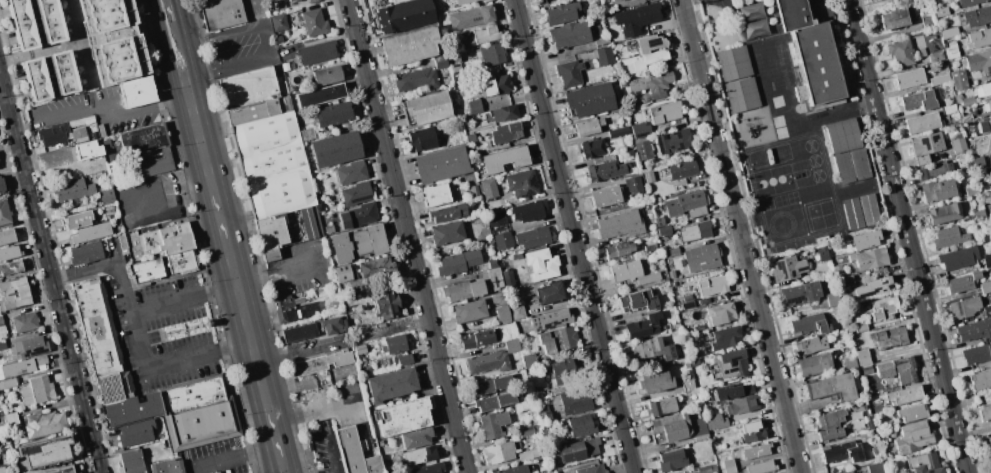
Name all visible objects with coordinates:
building: (451, 0)
building: (486, 0)
building: (614, 0)
building: (872, 0)
building: (296, 1)
building: (463, 2)
building: (970, 3)
road: (178, 9)
road: (258, 12)
building: (942, 12)
building: (222, 13)
building: (561, 13)
building: (643, 14)
building: (398, 15)
building: (471, 17)
building: (977, 17)
building: (752, 20)
building: (894, 20)
building: (280, 22)
building: (929, 22)
building: (36, 23)
building: (313, 23)
building: (950, 32)
building: (569, 34)
building: (485, 35)
building: (980, 38)
building: (114, 40)
road: (265, 41)
building: (602, 43)
building: (650, 43)
road: (164, 46)
building: (411, 46)
building: (951, 50)
building: (901, 52)
building: (922, 52)
road: (189, 53)
building: (317, 53)
building: (492, 54)
building: (604, 56)
building: (812, 57)
building: (936, 57)
building: (644, 60)
building: (979, 62)
building: (441, 63)
building: (456, 67)
building: (570, 73)
building: (327, 75)
building: (50, 76)
building: (910, 78)
building: (415, 79)
building: (941, 79)
building: (960, 79)
building: (738, 80)
building: (638, 84)
building: (497, 85)
building: (658, 85)
building: (253, 87)
building: (984, 90)
building: (138, 93)
building: (321, 95)
building: (590, 99)
building: (919, 100)
building: (968, 101)
building: (472, 107)
building: (987, 107)
building: (428, 108)
building: (949, 109)
building: (260, 111)
building: (665, 112)
road: (113, 113)
building: (504, 113)
building: (334, 114)
building: (967, 118)
building: (81, 122)
building: (923, 123)
building: (985, 126)
building: (589, 127)
building: (641, 130)
building: (102, 131)
building: (619, 132)
building: (93, 133)
building: (506, 133)
building: (307, 134)
building: (266, 135)
rooftop solar panel: (664, 135)
rooftop solar panel: (677, 135)
building: (471, 138)
rooftop solar panel: (934, 138)
building: (422, 139)
building: (144, 140)
building: (674, 141)
building: (86, 143)
rooftop solar panel: (923, 143)
building: (107, 144)
building: (948, 145)
building: (959, 145)
rooftop solar panel: (658, 146)
building: (926, 147)
building: (592, 148)
rooftop solar panel: (680, 148)
building: (336, 149)
building: (644, 150)
building: (847, 152)
building: (113, 154)
building: (624, 155)
building: (767, 156)
building: (504, 160)
building: (153, 162)
building: (990, 162)
building: (273, 163)
building: (978, 163)
building: (441, 165)
building: (970, 166)
building: (683, 169)
building: (935, 170)
building: (962, 170)
building: (601, 172)
building: (351, 173)
building: (989, 176)
building: (648, 177)
building: (631, 178)
rooftop solar panel: (534, 180)
park: (771, 181)
building: (522, 183)
building: (2, 186)
building: (70, 190)
building: (939, 190)
building: (475, 191)
building: (972, 191)
building: (490, 193)
rooftop solar panel: (528, 193)
road: (173, 194)
building: (281, 194)
building: (356, 194)
building: (436, 194)
building: (107, 195)
building: (606, 196)
building: (687, 205)
building: (647, 208)
building: (869, 210)
building: (530, 211)
building: (4, 213)
building: (447, 213)
building: (851, 213)
building: (946, 213)
building: (978, 214)
building: (358, 216)
building: (77, 220)
building: (497, 222)
building: (659, 222)
building: (313, 223)
building: (620, 224)
building: (329, 229)
building: (665, 231)
building: (695, 232)
building: (92, 233)
building: (448, 233)
building: (272, 236)
road: (408, 236)
road: (574, 236)
road: (742, 236)
road: (908, 236)
building: (7, 237)
building: (949, 237)
building: (534, 238)
building: (986, 238)
building: (820, 239)
building: (170, 240)
building: (503, 240)
building: (866, 240)
building: (357, 244)
building: (651, 248)
building: (619, 250)
building: (86, 252)
building: (9, 253)
building: (672, 253)
building: (822, 253)
building: (516, 255)
building: (701, 258)
building: (958, 258)
building: (868, 259)
building: (987, 260)
building: (458, 262)
building: (184, 263)
building: (493, 263)
building: (541, 264)
parking lot: (301, 267)
building: (11, 268)
building: (376, 268)
rooftop solar panel: (781, 268)
building: (788, 268)
building: (990, 269)
building: (625, 270)
road: (50, 271)
building: (149, 272)
building: (838, 272)
building: (343, 273)
building: (671, 274)
road: (277, 275)
building: (507, 278)
building: (648, 278)
building: (495, 279)
road: (236, 280)
building: (845, 281)
building: (964, 283)
building: (674, 284)
building: (713, 285)
building: (873, 287)
building: (986, 287)
rooftop solar panel: (889, 288)
building: (463, 290)
building: (549, 293)
building: (14, 294)
building: (800, 294)
building: (687, 298)
building: (833, 298)
road: (185, 299)
rooftop solar panel: (794, 300)
building: (638, 301)
building: (704, 301)
building: (385, 304)
building: (687, 305)
building: (965, 307)
building: (287, 308)
building: (882, 308)
building: (348, 309)
building: (470, 310)
rooftop solar panel: (958, 311)
building: (987, 311)
building: (518, 312)
building: (503, 314)
building: (720, 314)
building: (551, 319)
rooftop solar panel: (562, 320)
building: (25, 323)
building: (207, 324)
building: (518, 324)
building: (809, 324)
building: (333, 325)
rooftop solar panel: (556, 325)
building: (643, 326)
rooftop solar panel: (548, 328)
building: (699, 328)
building: (862, 328)
building: (2, 329)
building: (974, 330)
building: (100, 332)
building: (300, 333)
road: (139, 335)
parking lot: (140, 337)
building: (727, 337)
building: (482, 338)
building: (889, 338)
road: (344, 340)
building: (559, 340)
building: (3, 344)
building: (394, 345)
building: (512, 346)
building: (808, 346)
building: (30, 347)
building: (647, 348)
building: (360, 349)
building: (667, 353)
building: (977, 354)
building: (863, 357)
building: (403, 359)
building: (530, 361)
building: (320, 363)
building: (488, 363)
building: (733, 363)
rooftop solar panel: (733, 363)
building: (848, 363)
building: (814, 364)
building: (24, 367)
building: (904, 369)
rooftop solar panel: (734, 370)
building: (867, 370)
building: (562, 371)
rooftop solar panel: (724, 373)
building: (876, 376)
building: (655, 381)
building: (981, 381)
building: (8, 384)
building: (688, 384)
building: (391, 385)
building: (490, 386)
building: (833, 388)
building: (38, 391)
building: (538, 392)
building: (730, 392)
building: (903, 395)
building: (495, 401)
building: (576, 401)
building: (127, 402)
building: (742, 405)
building: (662, 407)
road: (314, 410)
building: (984, 412)
building: (201, 413)
building: (910, 413)
building: (544, 414)
building: (403, 416)
building: (12, 420)
building: (715, 422)
building: (45, 424)
building: (493, 424)
building: (831, 424)
building: (581, 425)
building: (869, 425)
building: (670, 428)
building: (699, 429)
building: (528, 430)
building: (548, 430)
building: (753, 431)
building: (136, 433)
building: (914, 437)
building: (416, 438)
building: (989, 441)
building: (381, 443)
building: (716, 443)
building: (578, 450)
building: (874, 450)
building: (756, 451)
building: (45, 452)
building: (499, 452)
building: (842, 452)
building: (355, 453)
building: (420, 455)
building: (528, 455)
parking lot: (218, 458)
road: (237, 458)
building: (672, 460)
building: (132, 462)
building: (926, 463)
building: (729, 466)
building: (166, 467)
building: (761, 467)
building: (876, 468)
building: (3, 469)
building: (65, 469)
building: (430, 469)
building: (513, 469)
building: (592, 469)
building: (705, 469)
building: (851, 472)
building: (855, 472)

